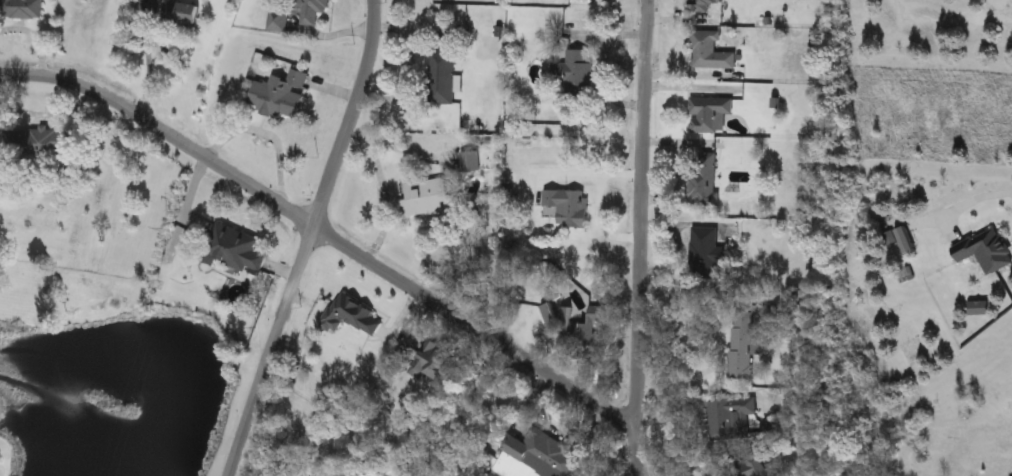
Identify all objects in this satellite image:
building: (703, 5)
building: (21, 9)
building: (314, 11)
building: (182, 13)
building: (279, 20)
building: (710, 51)
road: (146, 59)
building: (575, 74)
building: (442, 77)
building: (281, 94)
building: (709, 113)
building: (39, 141)
building: (470, 161)
building: (703, 179)
building: (424, 196)
road: (973, 199)
building: (568, 206)
road: (323, 230)
road: (638, 238)
road: (309, 239)
building: (235, 249)
building: (986, 250)
building: (705, 253)
building: (350, 315)
building: (574, 324)
building: (741, 346)
building: (435, 361)
building: (731, 419)
building: (771, 427)
building: (536, 457)
building: (756, 466)

